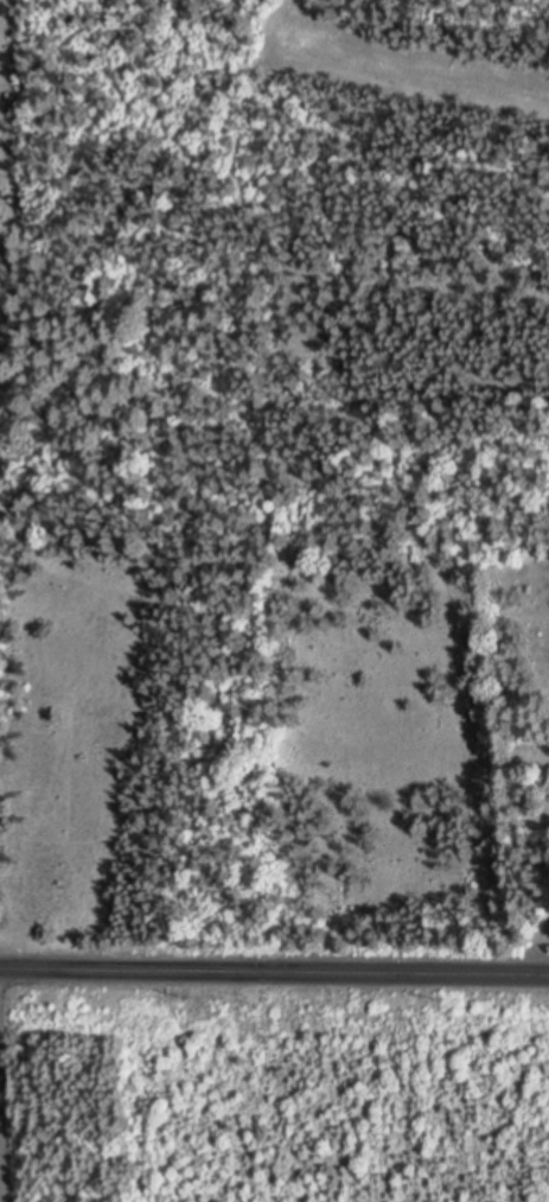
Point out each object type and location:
road: (274, 980)

